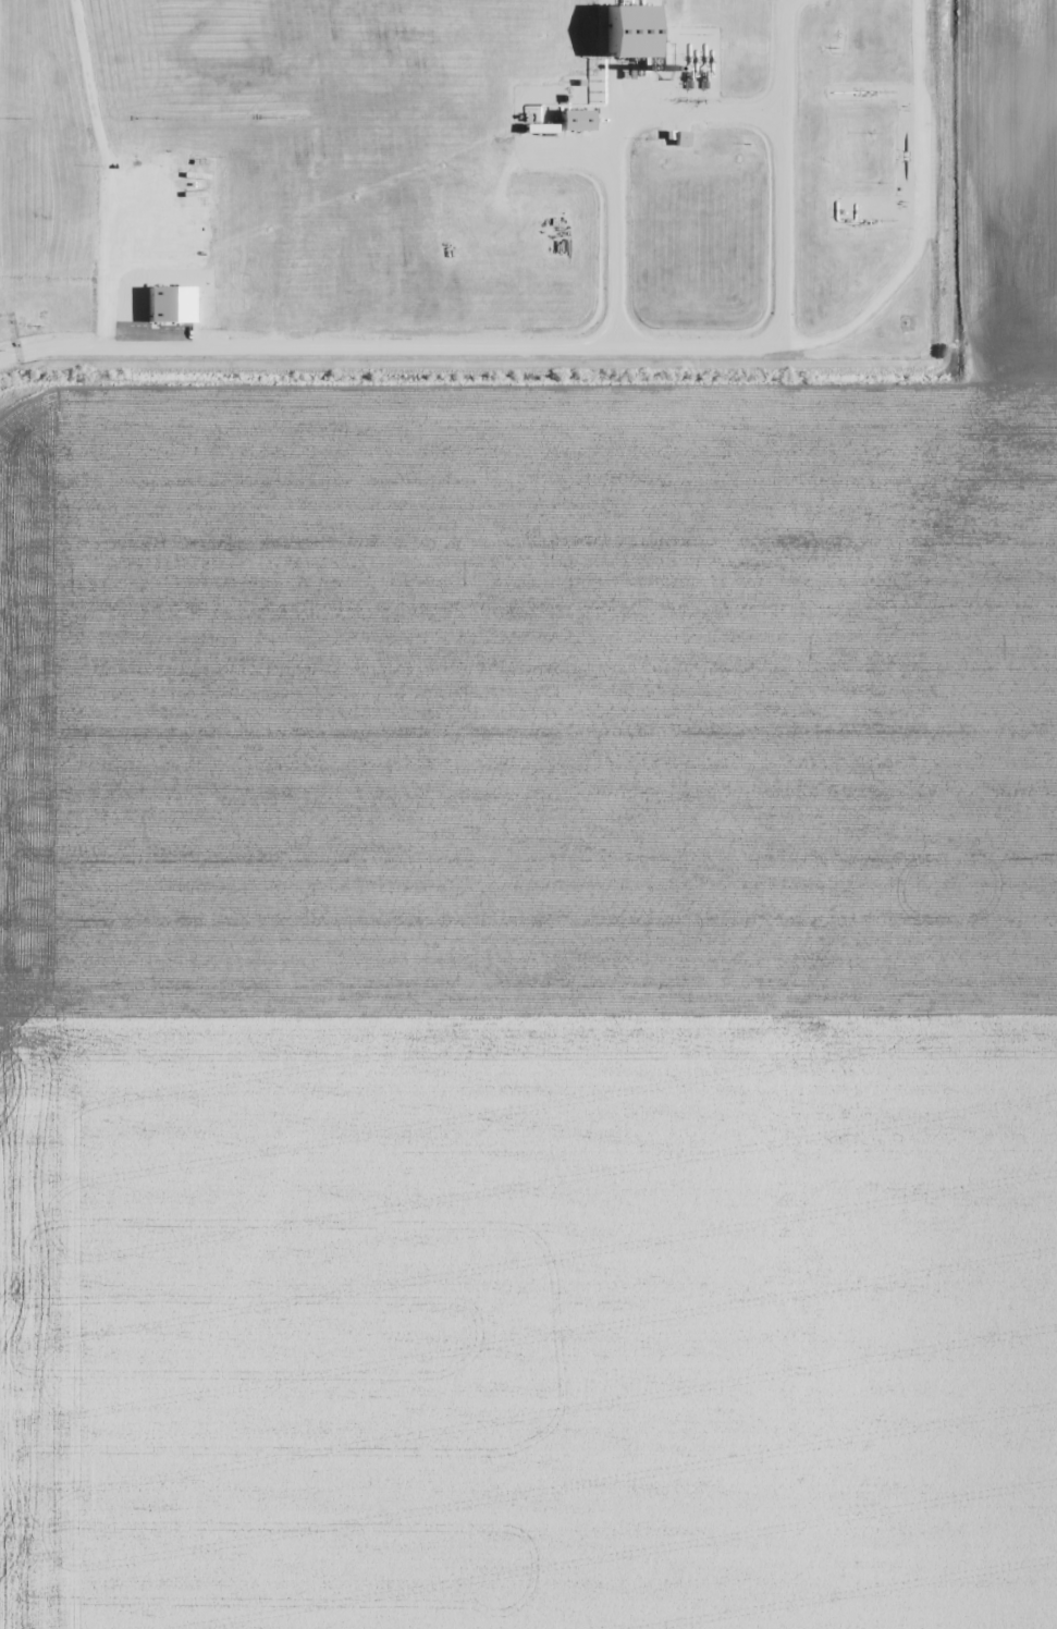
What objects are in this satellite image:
road: (910, 87)

